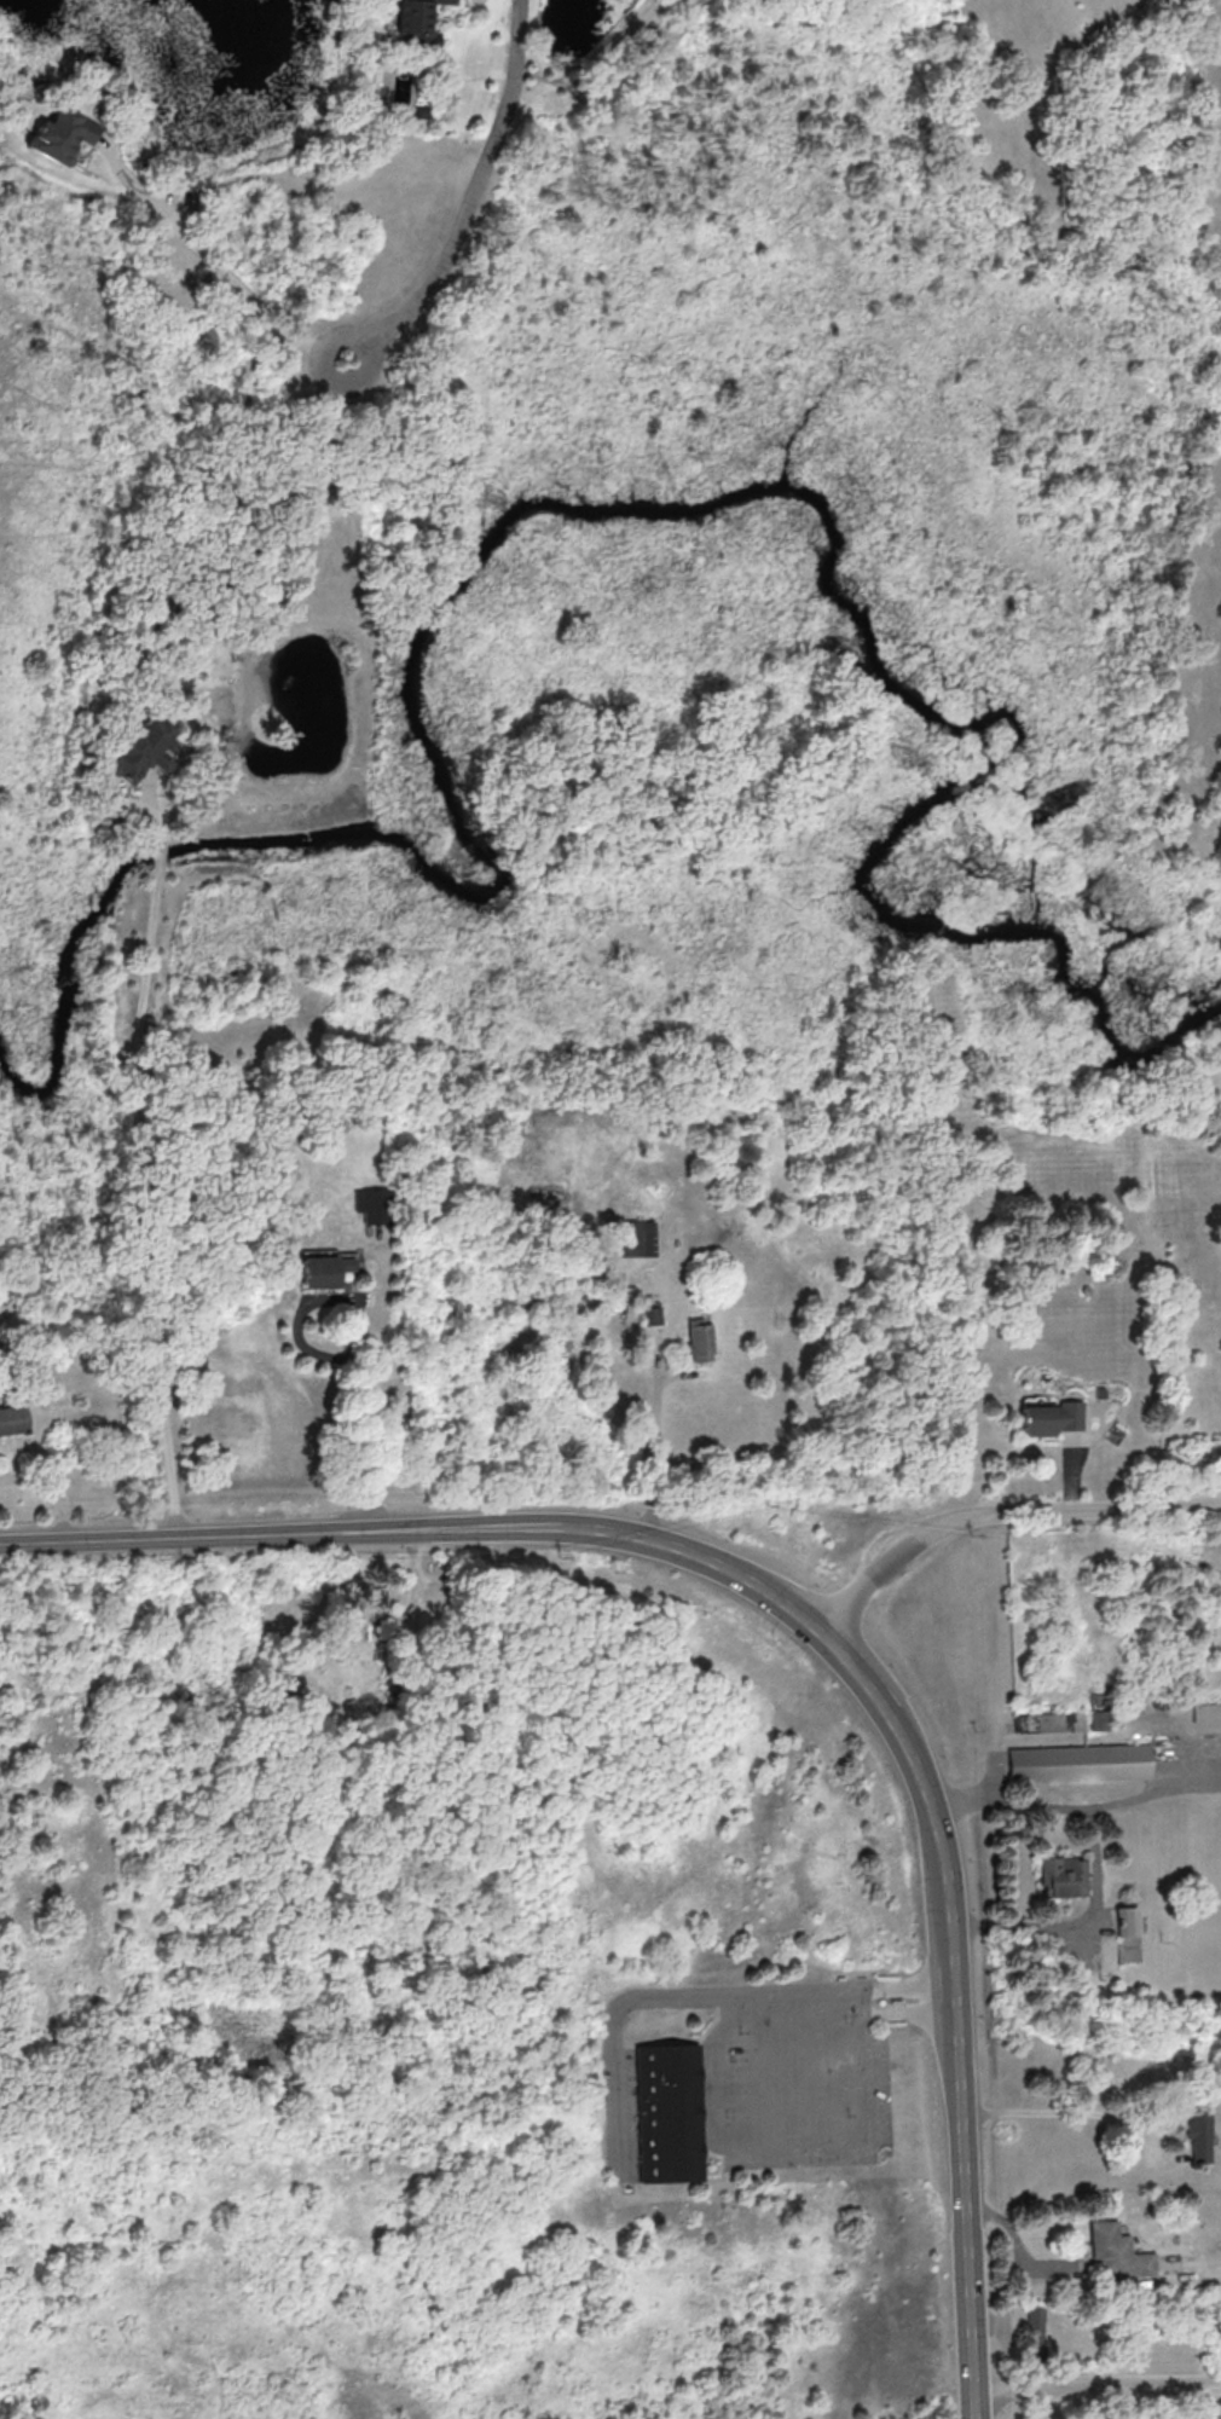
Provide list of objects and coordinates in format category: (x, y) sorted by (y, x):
building: (417, 22)
building: (62, 129)
road: (469, 201)
road: (221, 268)
building: (140, 748)
road: (141, 811)
road: (160, 853)
road: (146, 1204)
building: (372, 1205)
building: (640, 1238)
building: (323, 1271)
building: (653, 1315)
building: (700, 1339)
road: (354, 1343)
building: (1100, 1393)
building: (13, 1418)
building: (1051, 1418)
road: (656, 1440)
road: (1076, 1509)
road: (876, 1576)
building: (370, 1603)
road: (815, 1621)
building: (1206, 1712)
building: (1051, 1721)
building: (1081, 1763)
road: (1059, 1806)
building: (1063, 1876)
building: (1128, 1934)
road: (612, 2029)
road: (717, 2102)
building: (669, 2112)
road: (1059, 2112)
building: (1199, 2134)
building: (1118, 2251)
building: (1036, 2333)
road: (1095, 2386)

